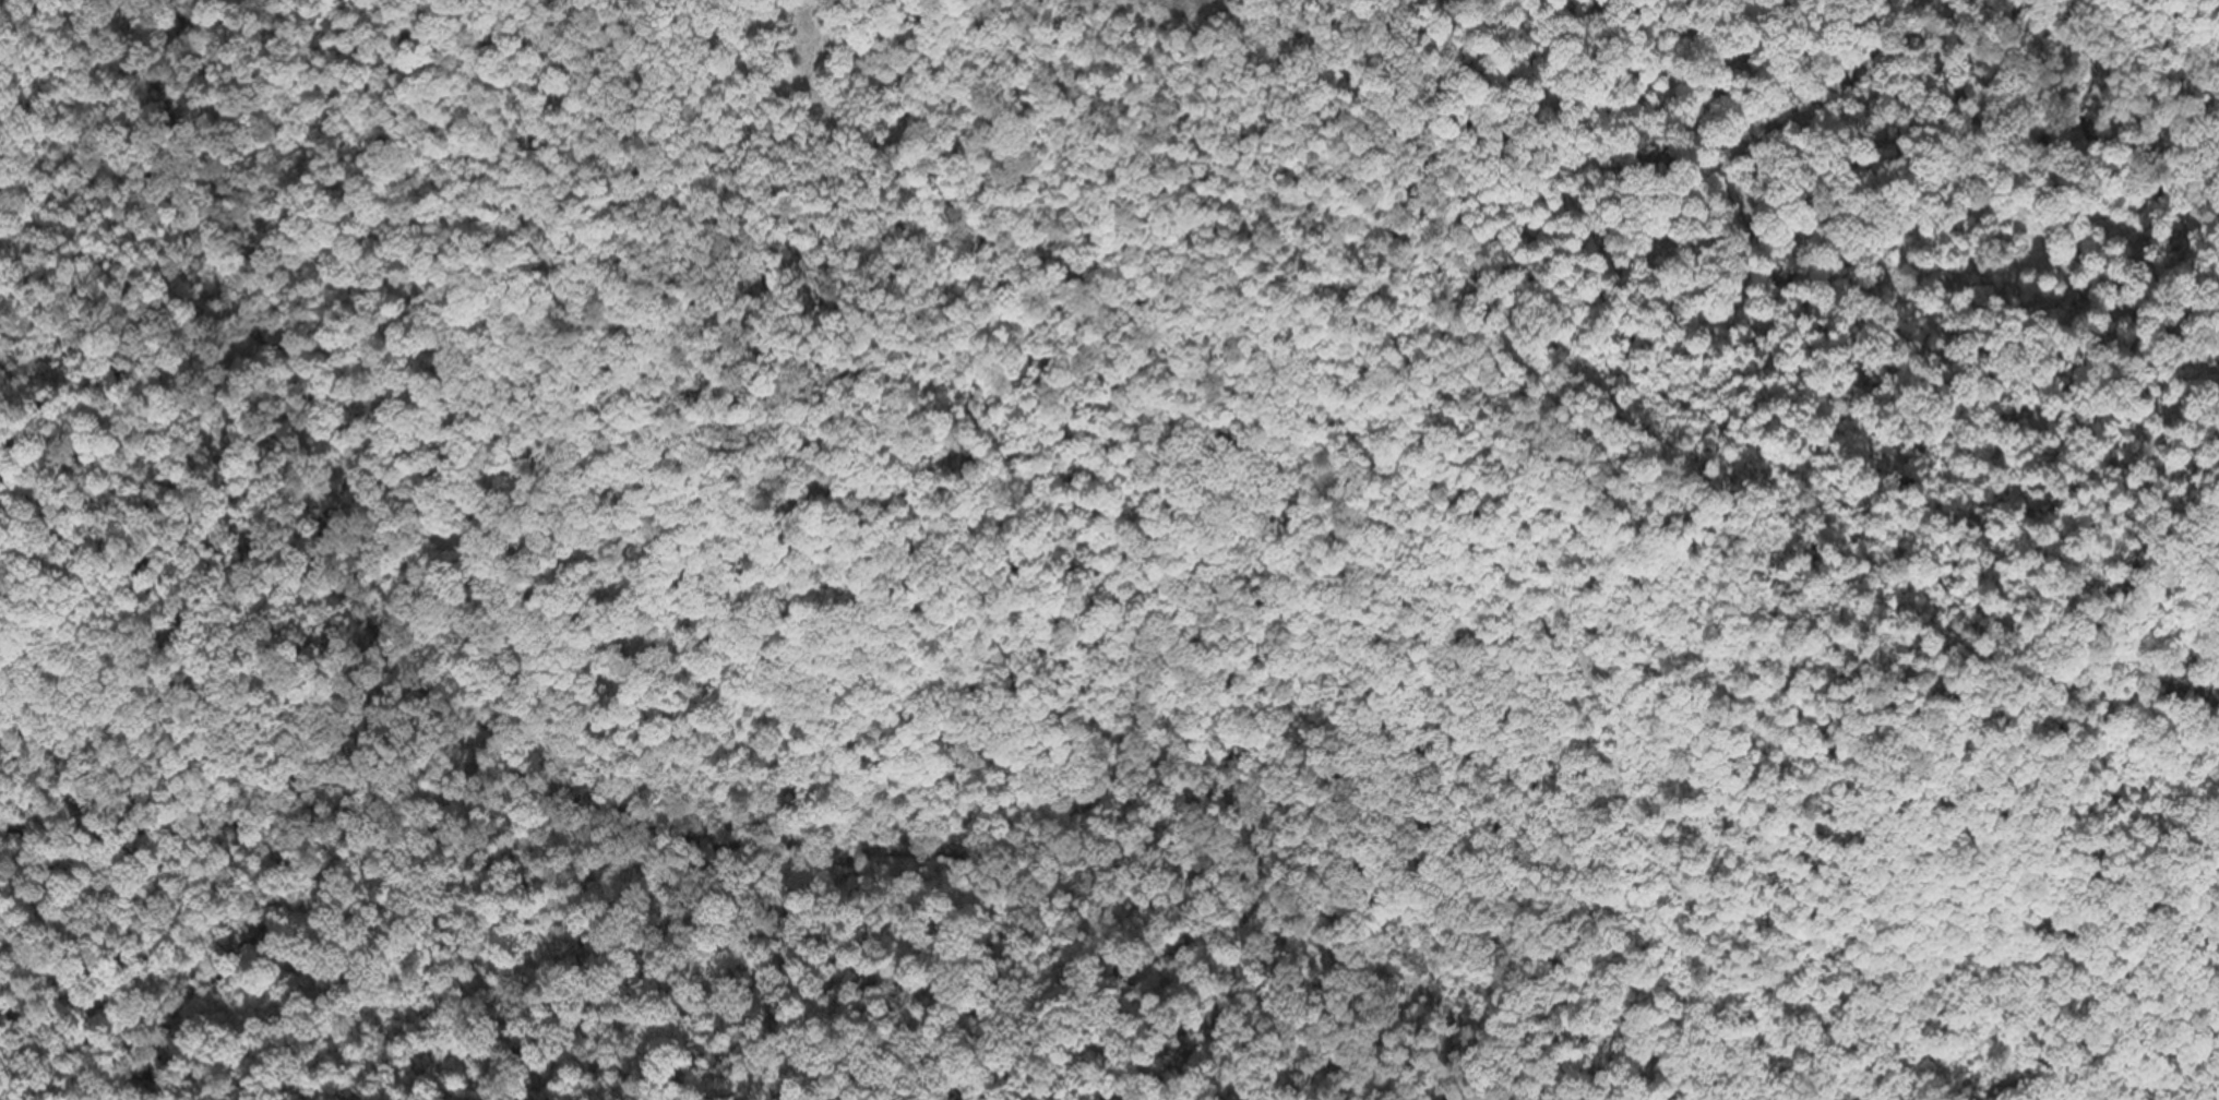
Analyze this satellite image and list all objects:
park: (1883, 44)

